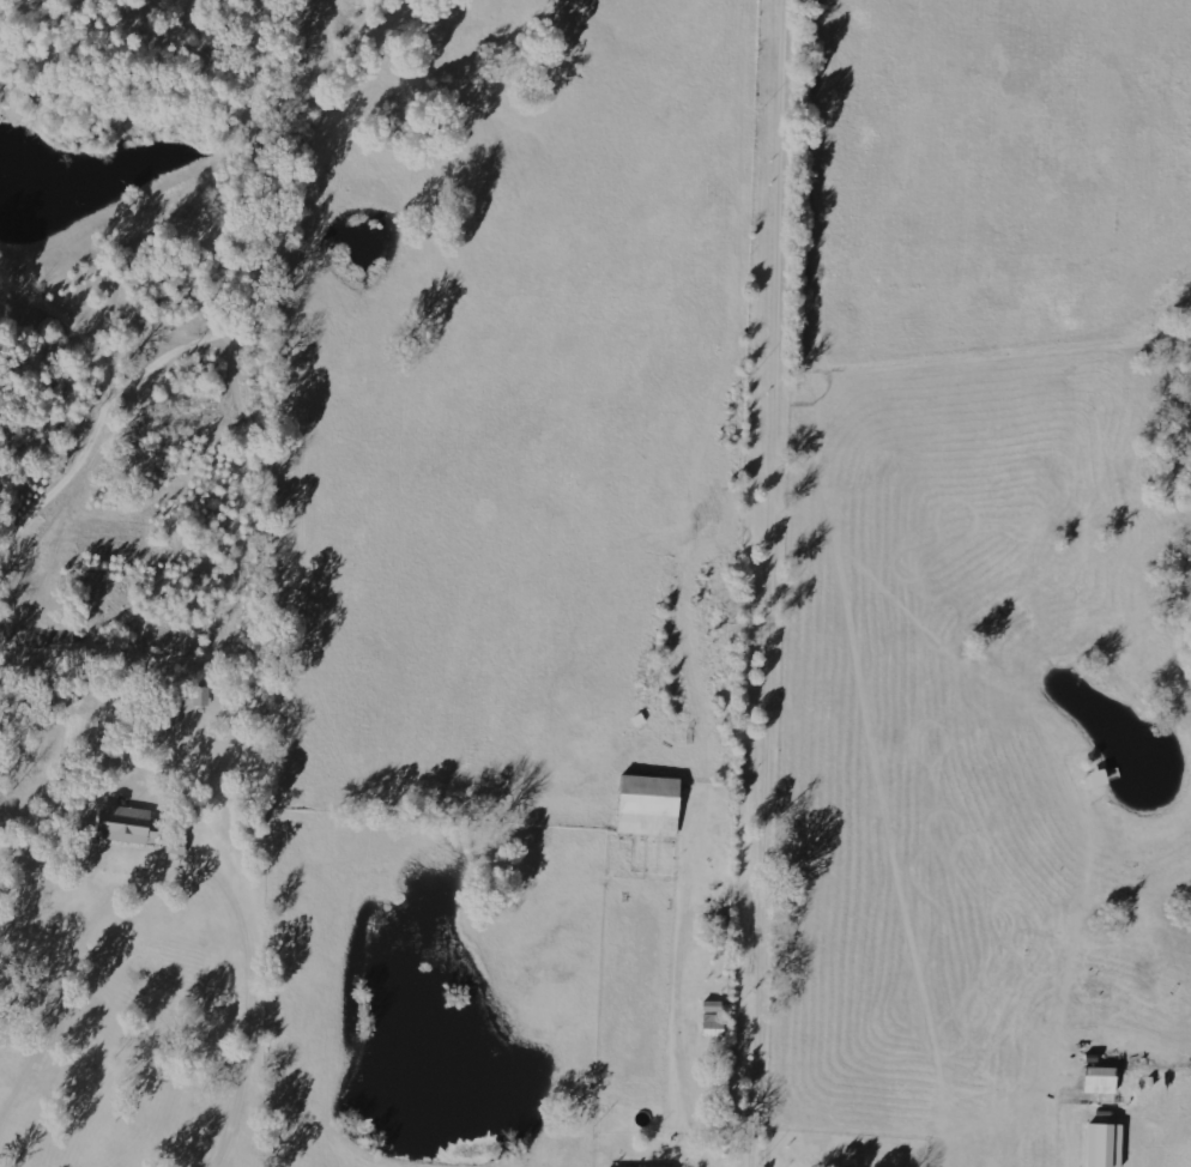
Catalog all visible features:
building: (647, 805)
building: (123, 823)
building: (175, 845)
building: (712, 1021)
building: (1099, 1080)
building: (1104, 1145)

